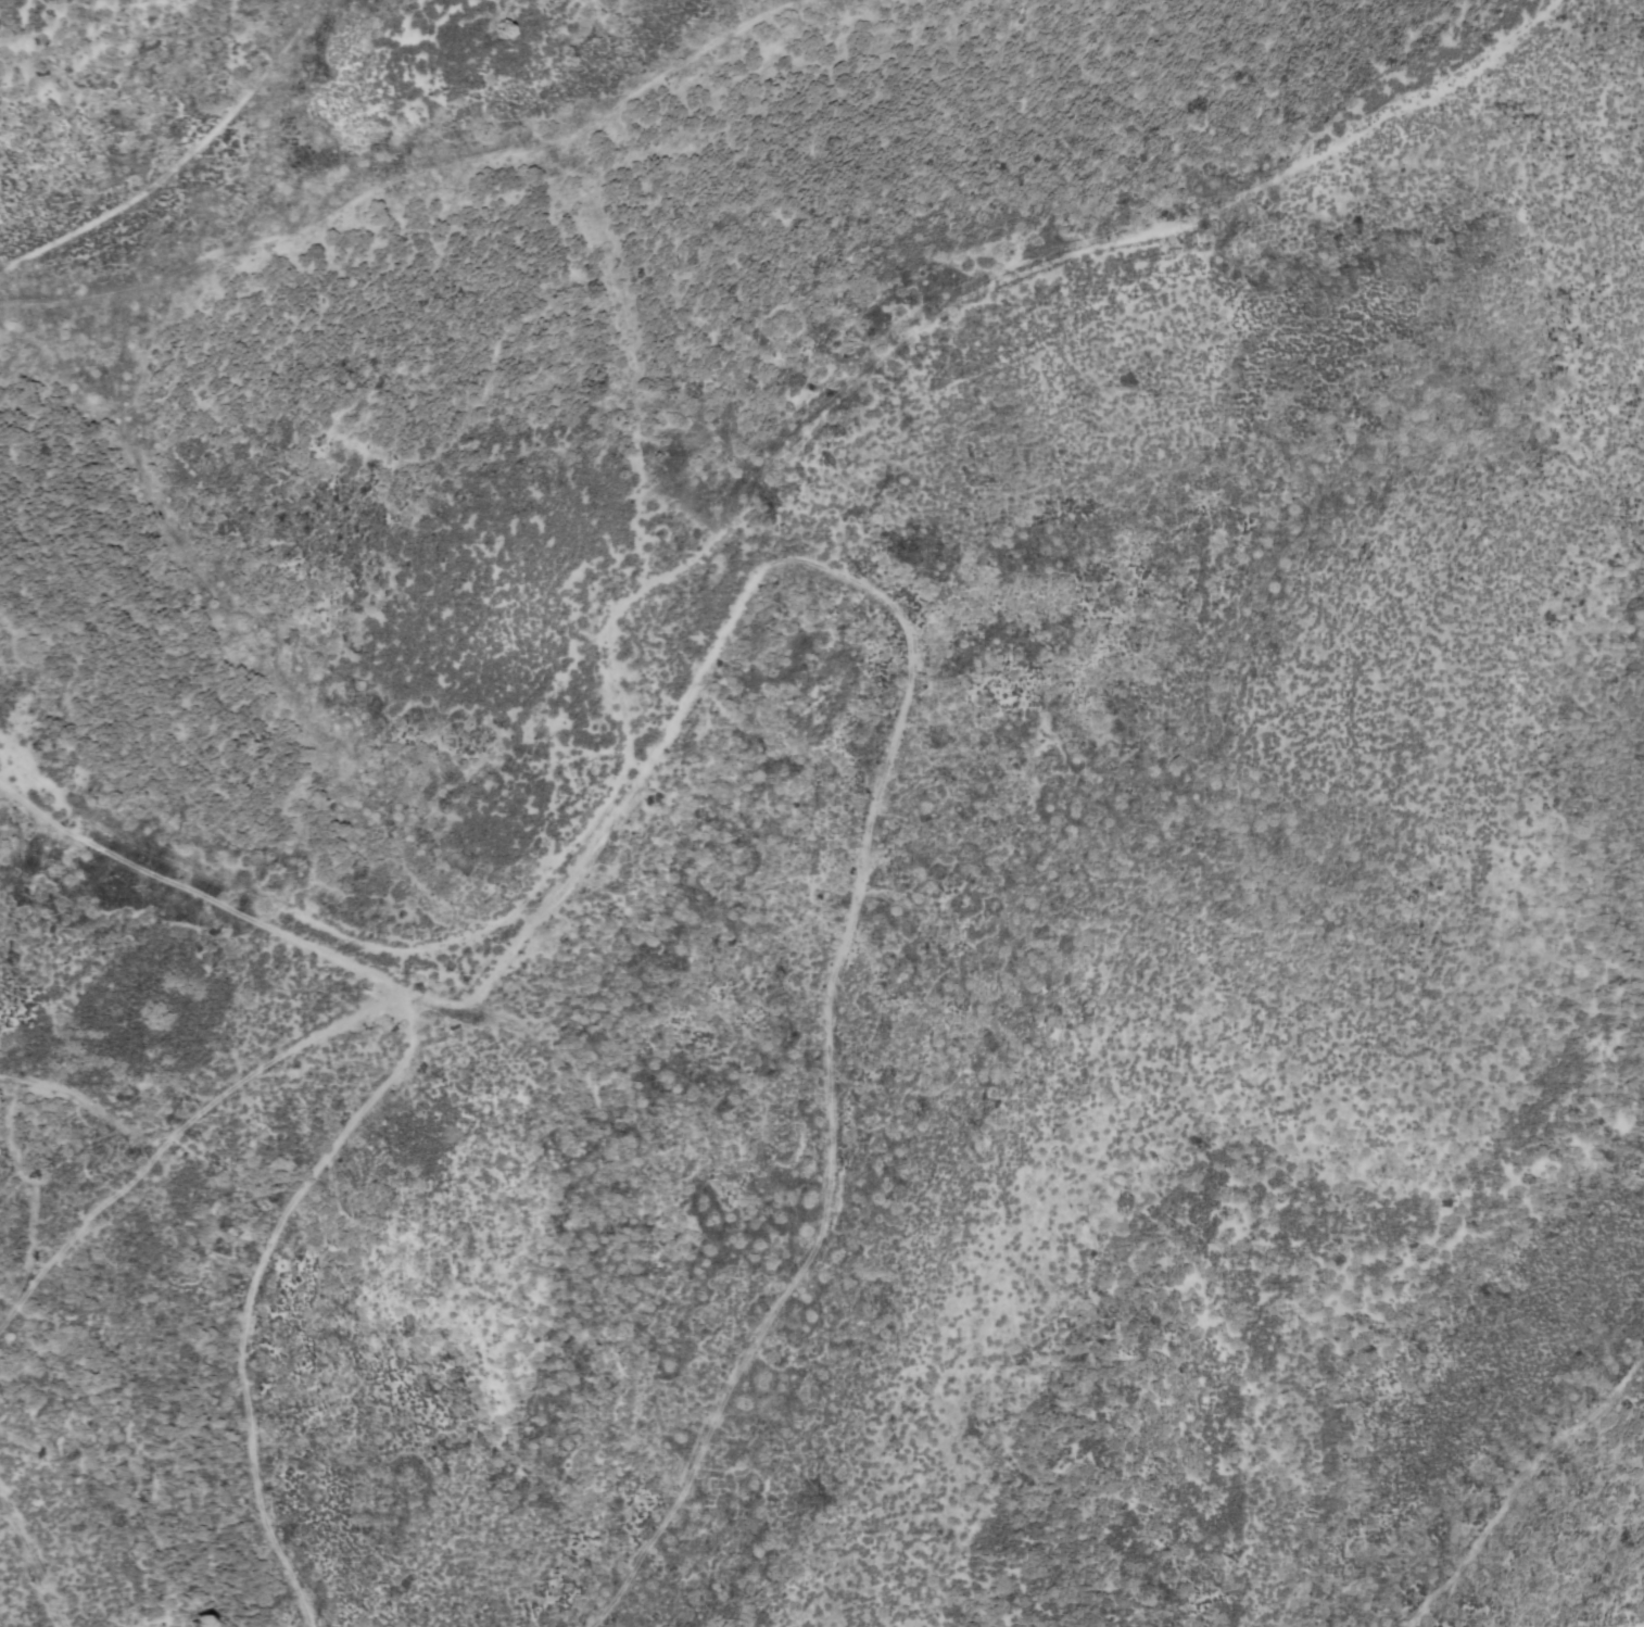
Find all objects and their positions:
road: (784, 445)

